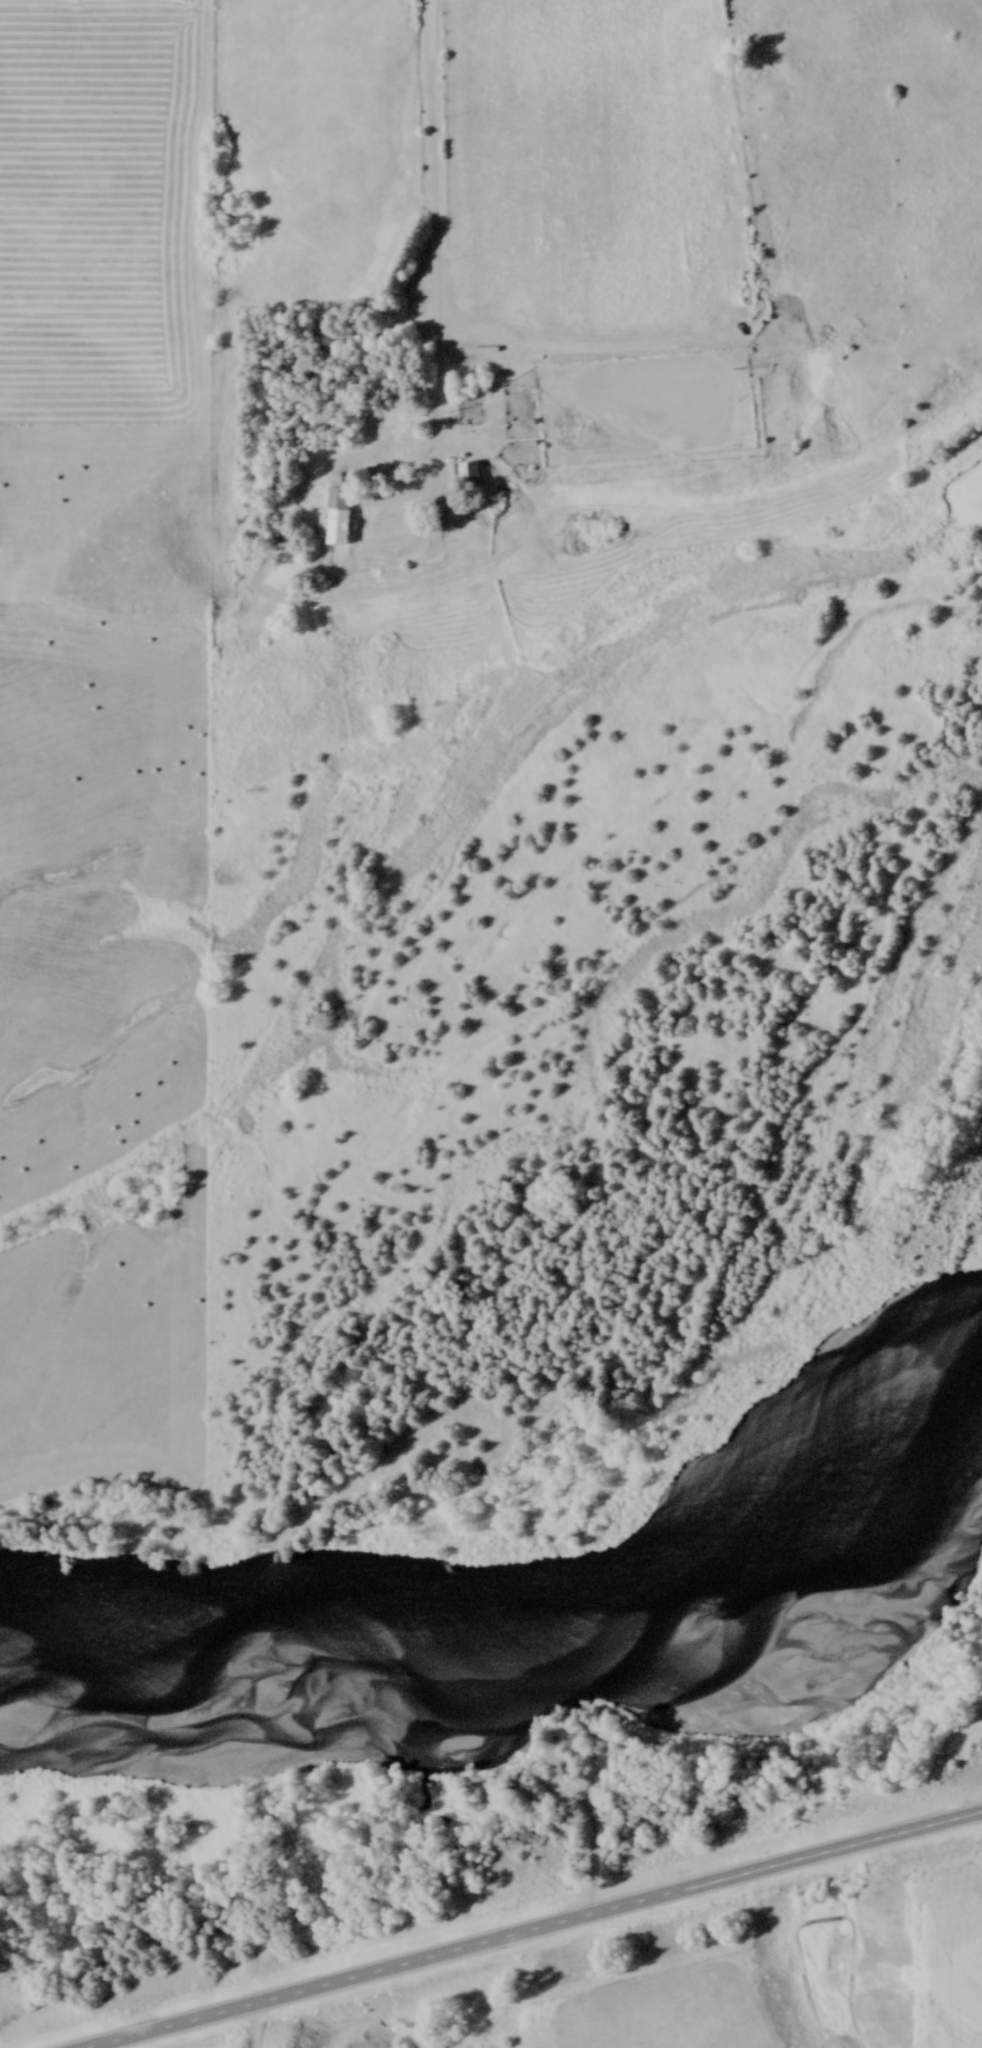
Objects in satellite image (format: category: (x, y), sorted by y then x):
road: (438, 277)
building: (473, 478)
building: (342, 520)
river: (504, 1592)
road: (537, 1928)

